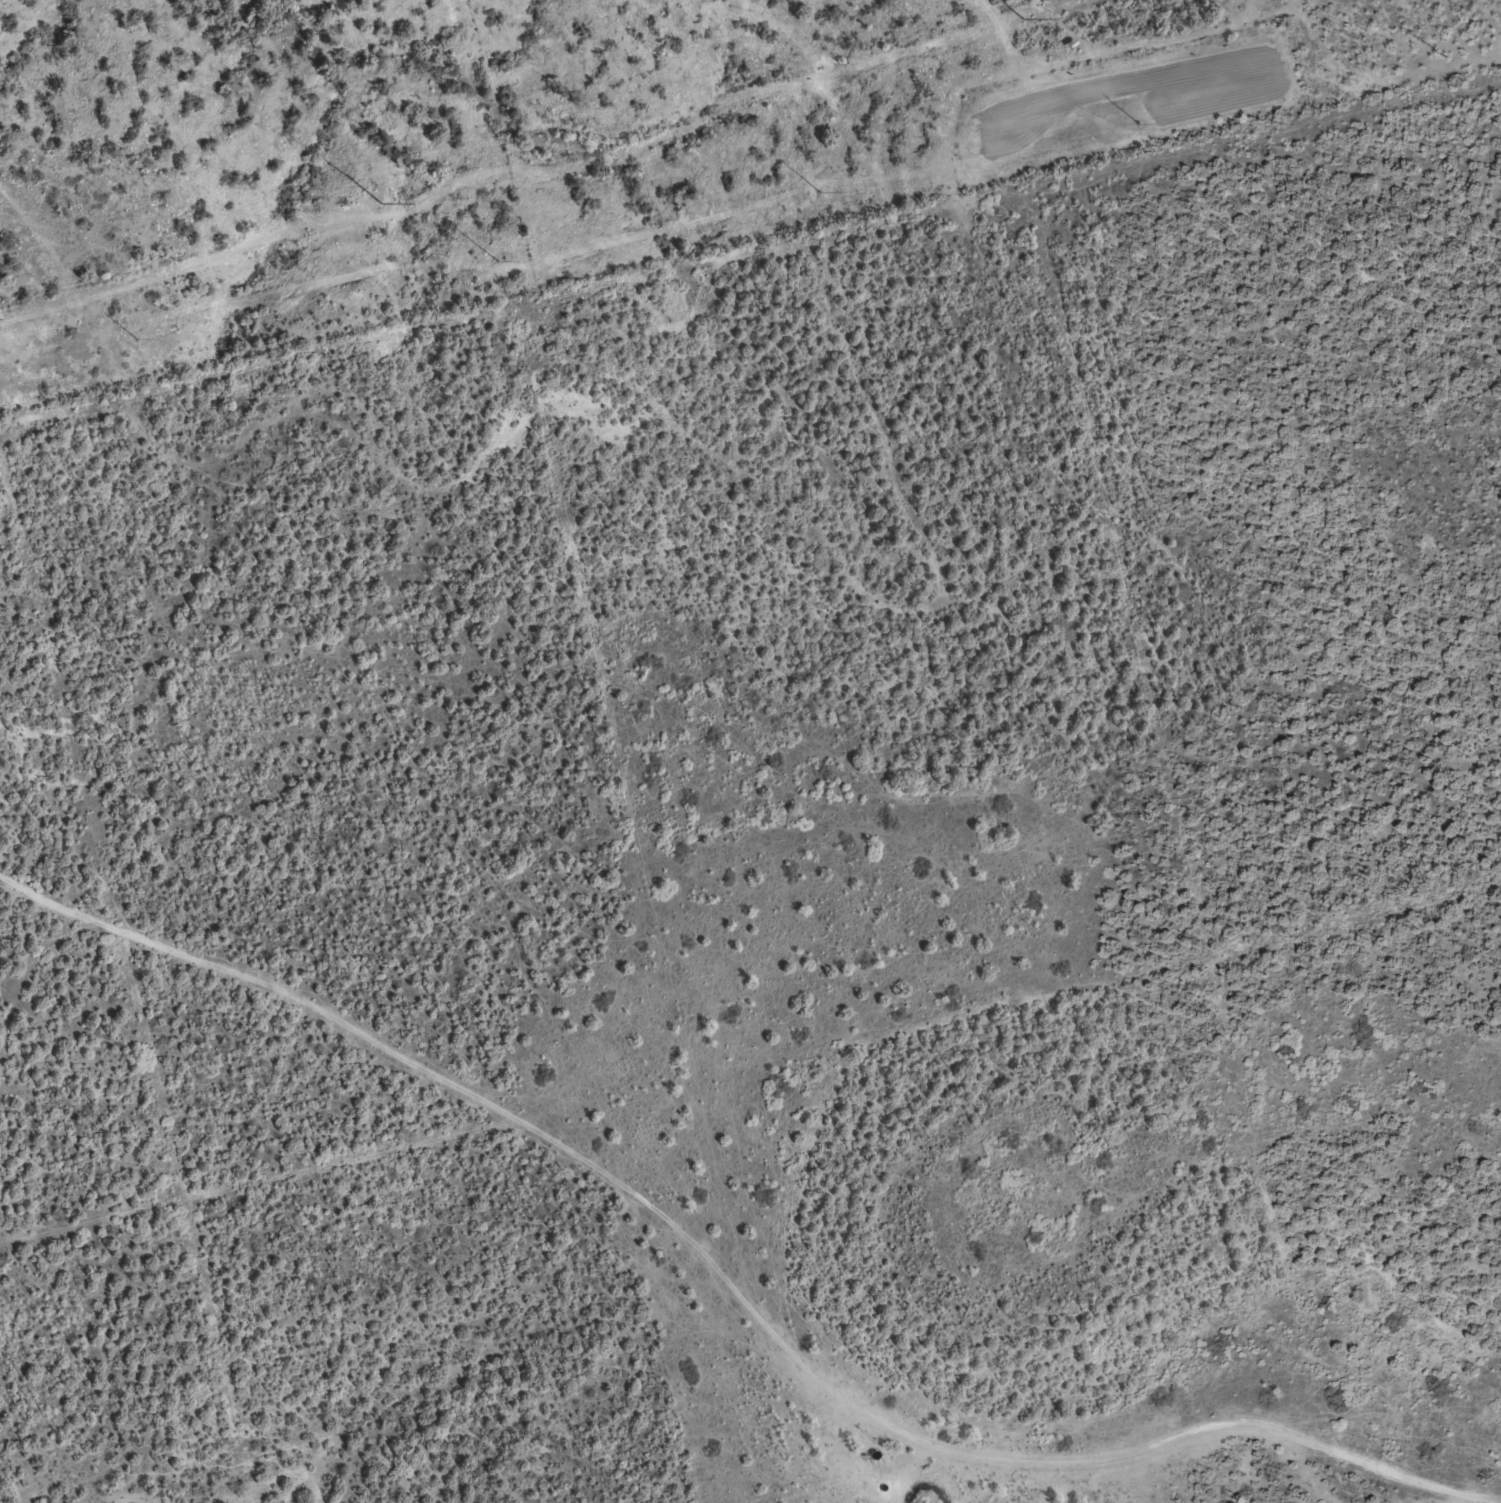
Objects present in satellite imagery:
power tower: (1019, 19)
power tower: (1448, 56)
power tower: (1136, 125)
power tower: (818, 192)
power tower: (376, 203)
power tower: (496, 261)
power tower: (134, 337)
road: (712, 1194)

